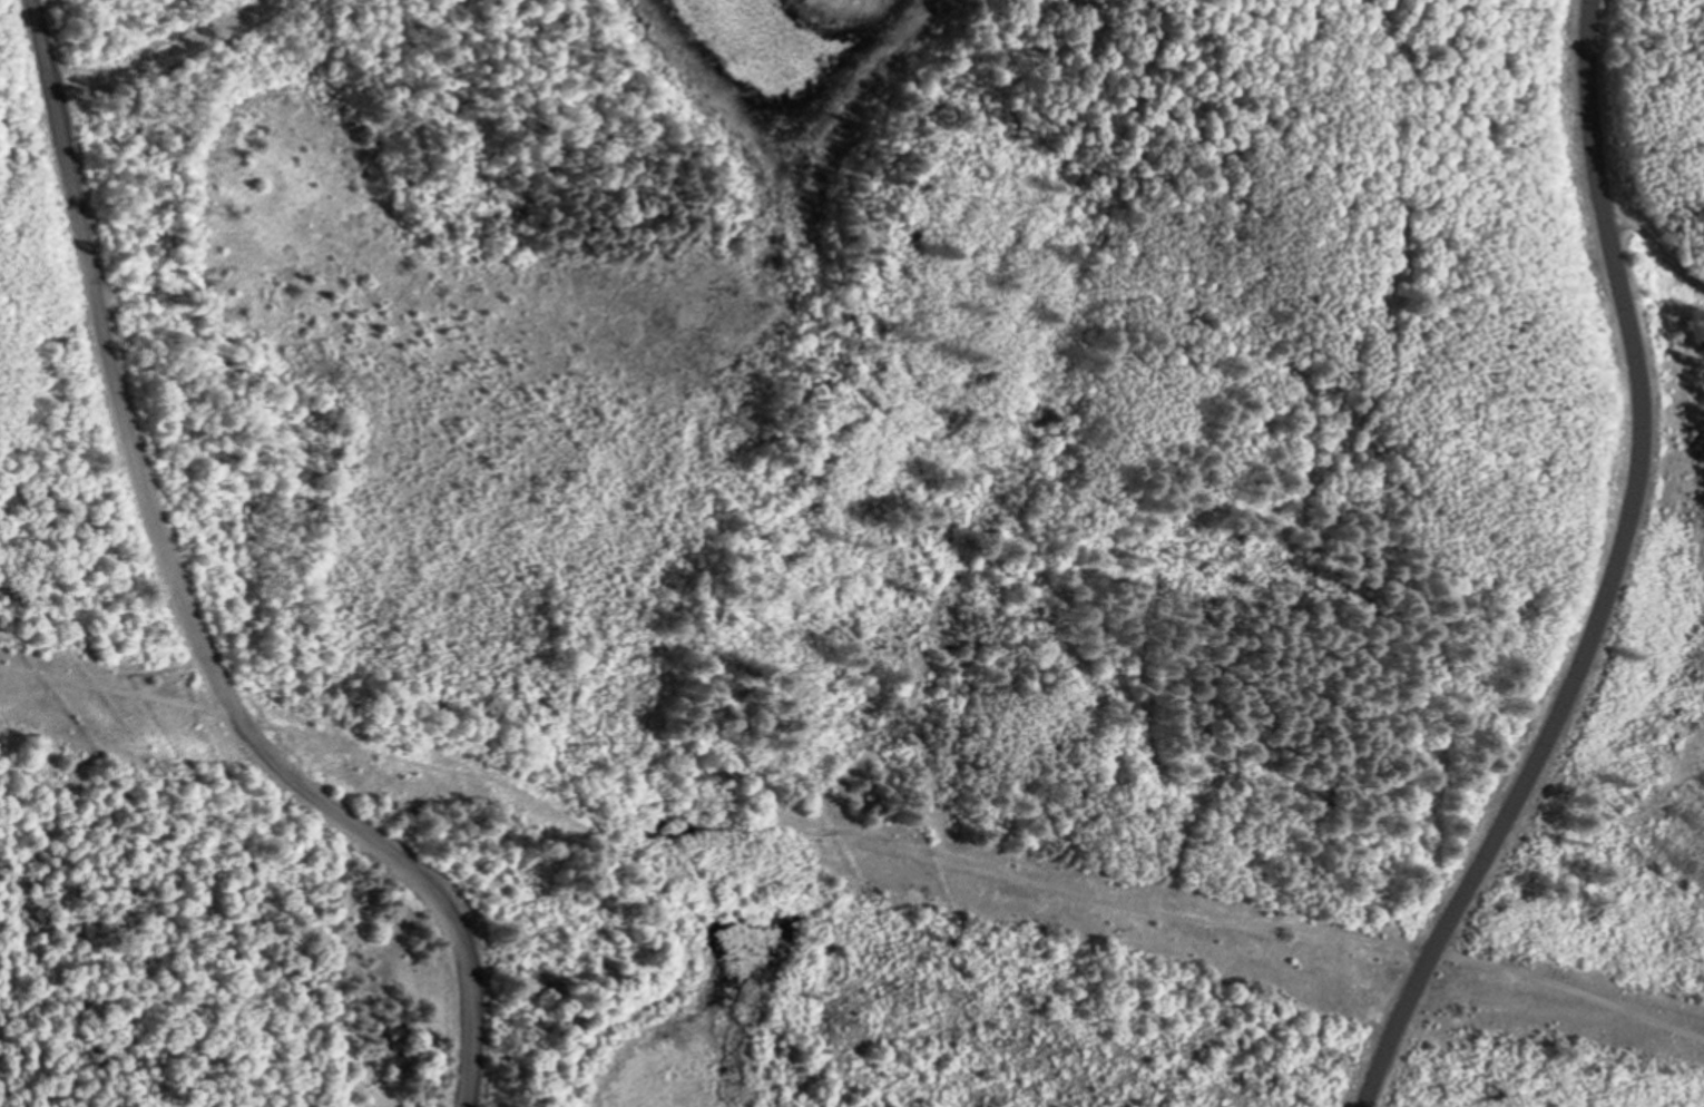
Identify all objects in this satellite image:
road: (1605, 578)
road: (176, 598)
road: (853, 833)

